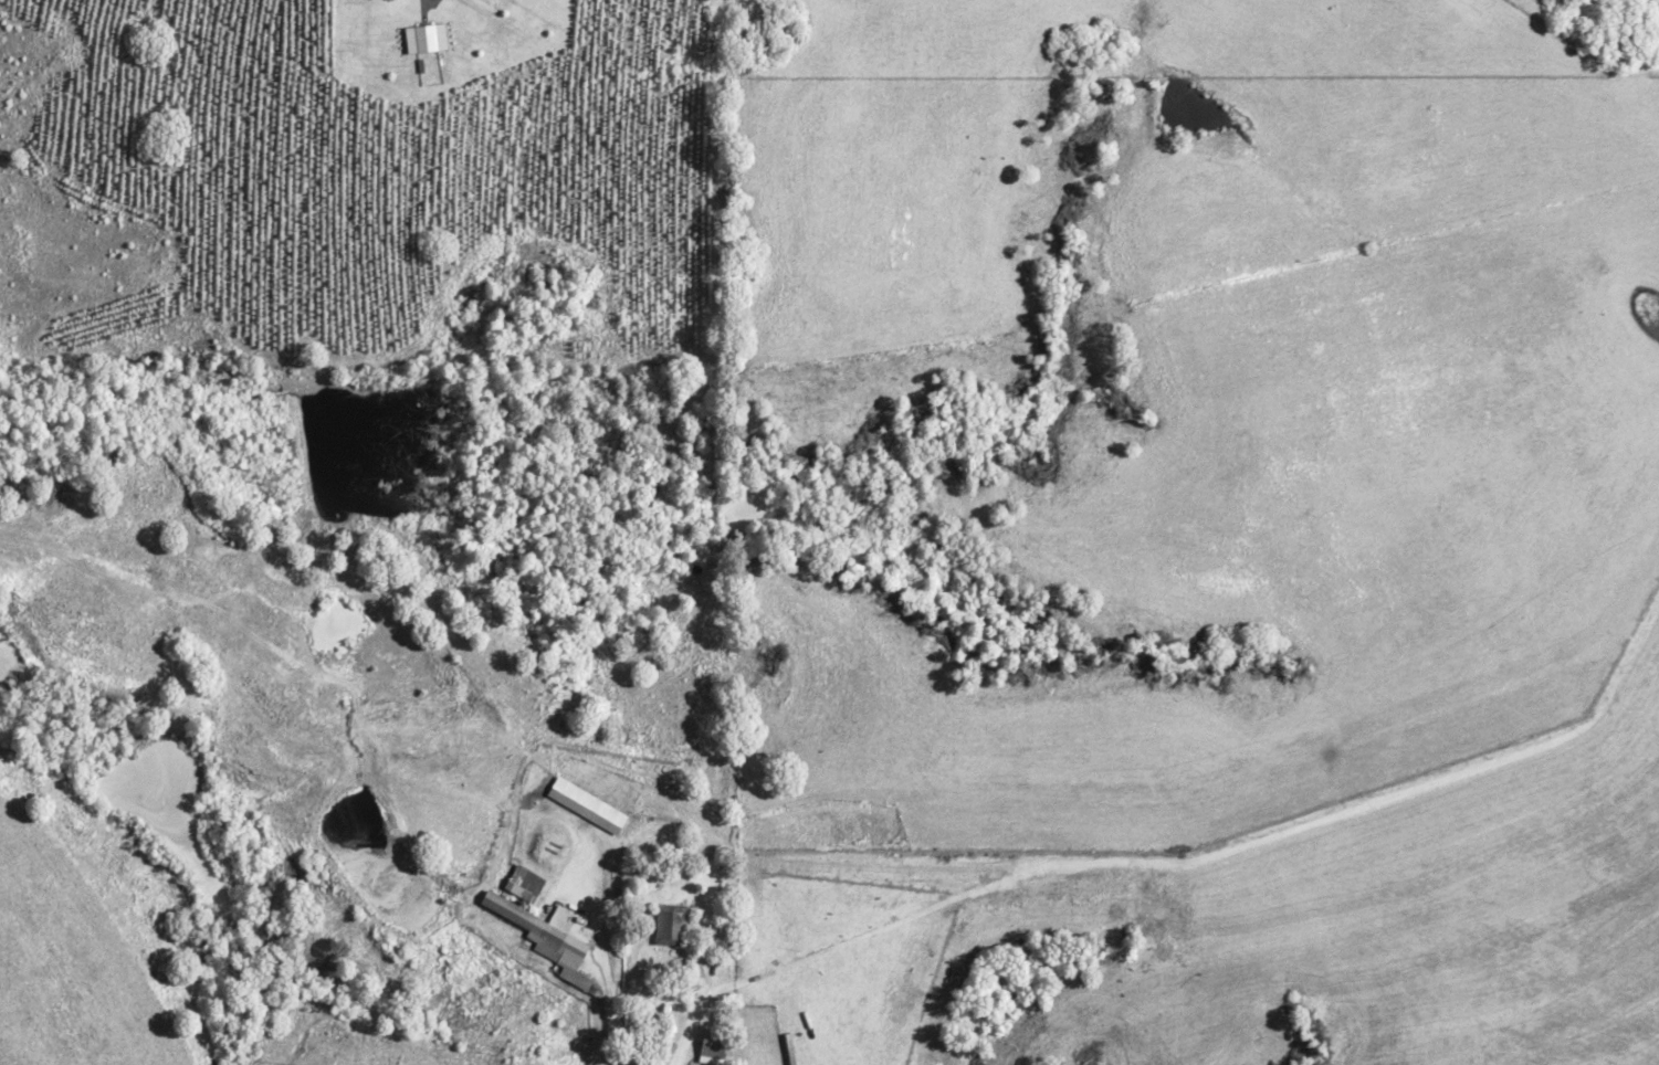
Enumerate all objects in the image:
building: (421, 38)
building: (582, 805)
building: (519, 884)
building: (666, 925)
building: (542, 937)
road: (704, 971)
building: (708, 1048)

